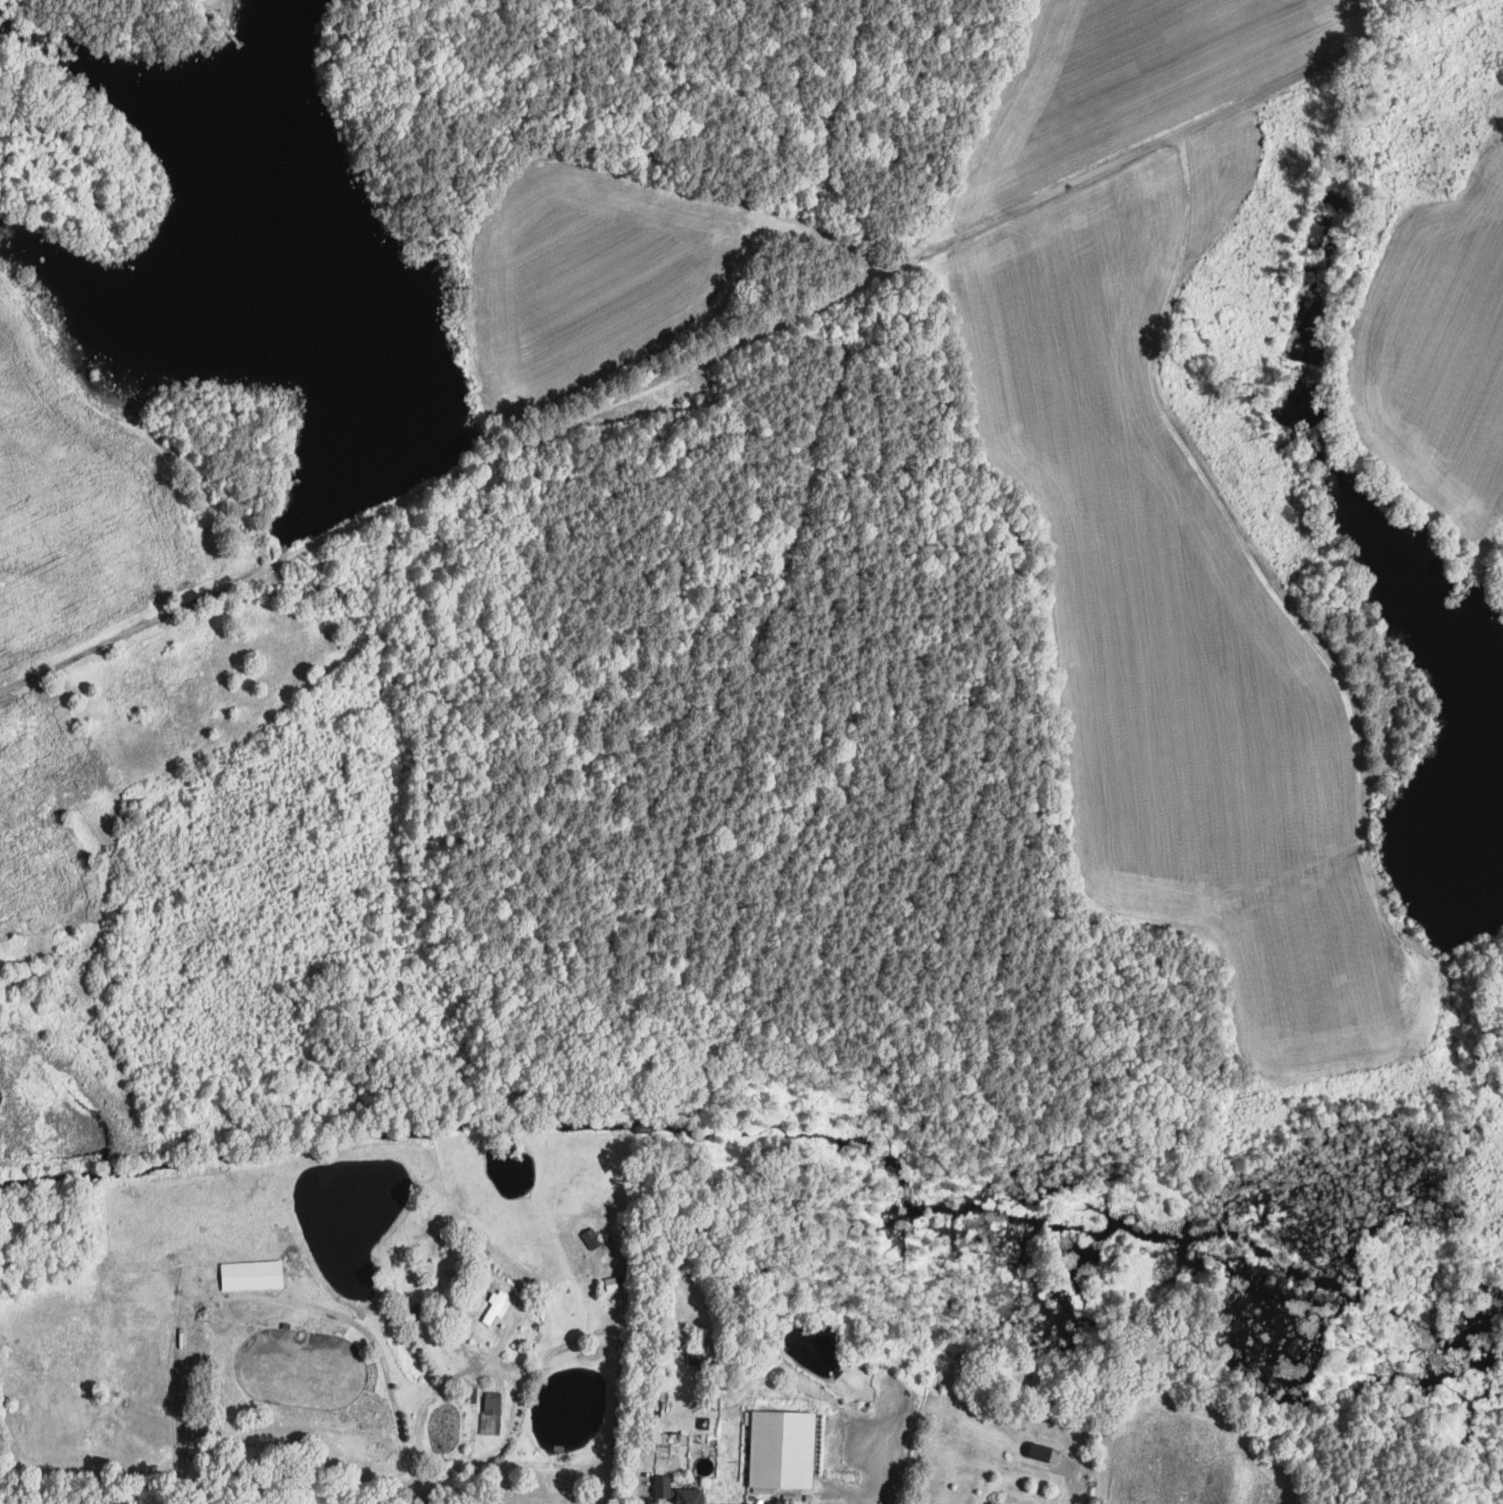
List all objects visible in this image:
building: (1424, 135)
crop: (1441, 341)
road: (730, 346)
road: (1270, 592)
crop: (1165, 622)
crop: (205, 1216)
building: (591, 1237)
building: (613, 1273)
building: (250, 1275)
building: (530, 1300)
building: (496, 1305)
building: (415, 1307)
road: (176, 1325)
building: (285, 1325)
road: (216, 1329)
road: (441, 1332)
road: (499, 1344)
building: (695, 1346)
road: (493, 1369)
building: (809, 1389)
building: (472, 1393)
building: (656, 1409)
building: (490, 1412)
building: (201, 1429)
building: (193, 1446)
road: (870, 1446)
building: (781, 1449)
road: (493, 1451)
building: (1038, 1452)
crop: (1185, 1452)
building: (680, 1490)
road: (1076, 1490)
road: (634, 1491)
road: (419, 1499)
crop: (1012, 1503)

